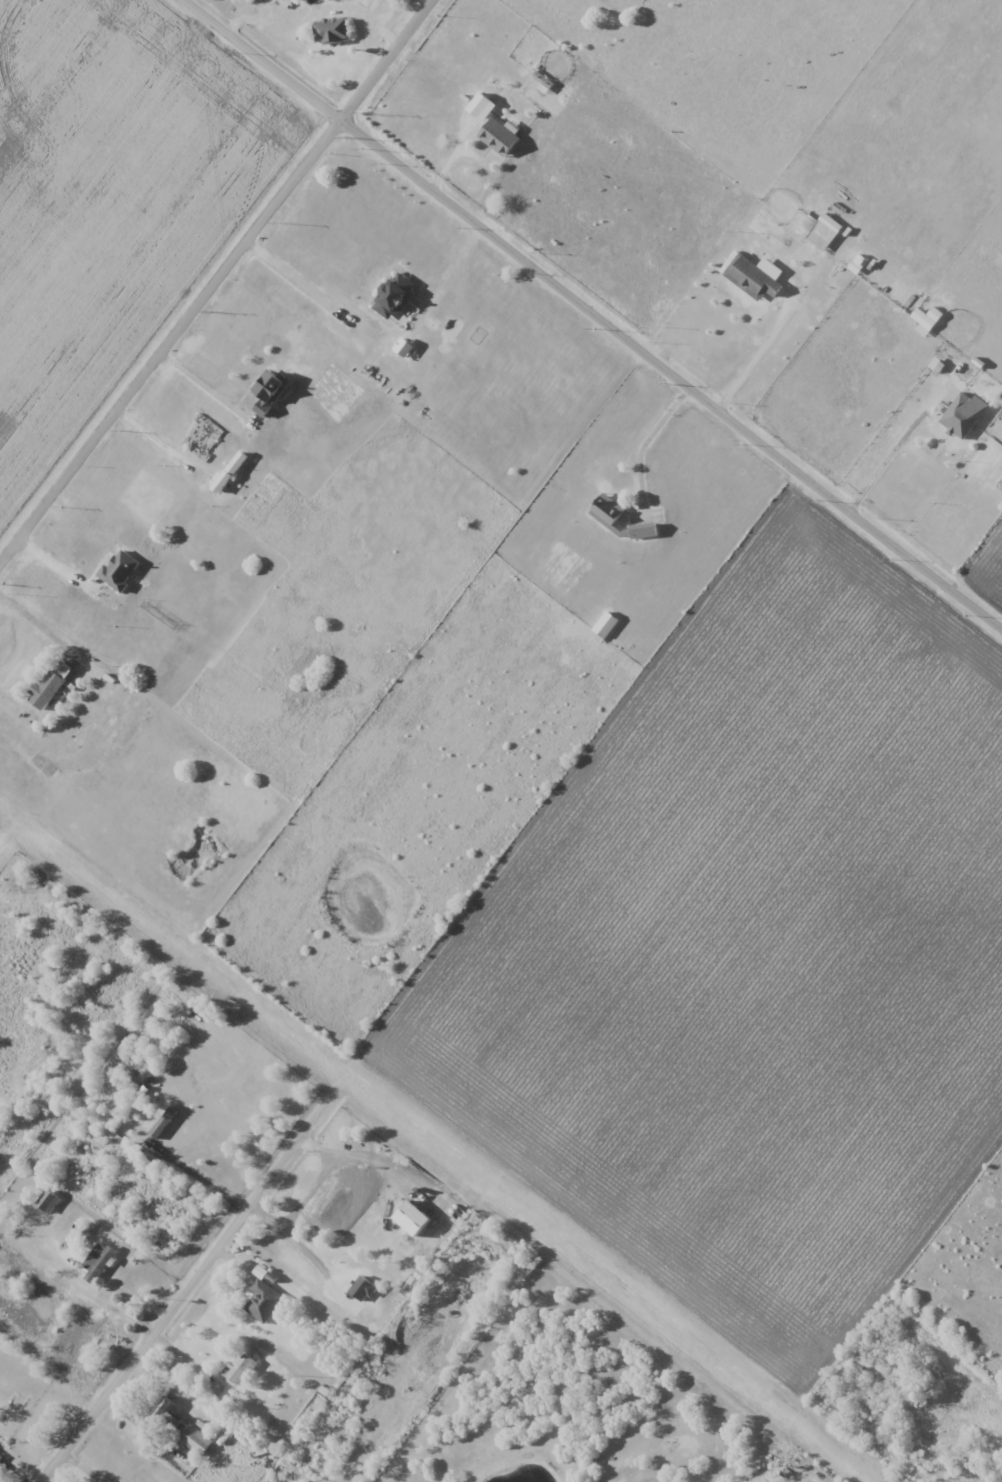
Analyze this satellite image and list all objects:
building: (332, 31)
building: (488, 87)
building: (499, 137)
building: (821, 231)
building: (753, 278)
road: (214, 281)
road: (306, 285)
building: (394, 296)
road: (600, 309)
building: (928, 318)
road: (199, 381)
building: (269, 391)
building: (964, 414)
building: (608, 518)
building: (120, 570)
building: (605, 624)
building: (51, 683)
crop: (752, 954)
building: (166, 1125)
road: (196, 1177)
building: (50, 1203)
building: (100, 1258)
building: (243, 1260)
building: (264, 1274)
road: (182, 1299)
building: (266, 1303)
building: (375, 1319)
road: (159, 1339)
building: (242, 1371)
building: (169, 1408)
building: (201, 1438)
building: (1, 1460)

